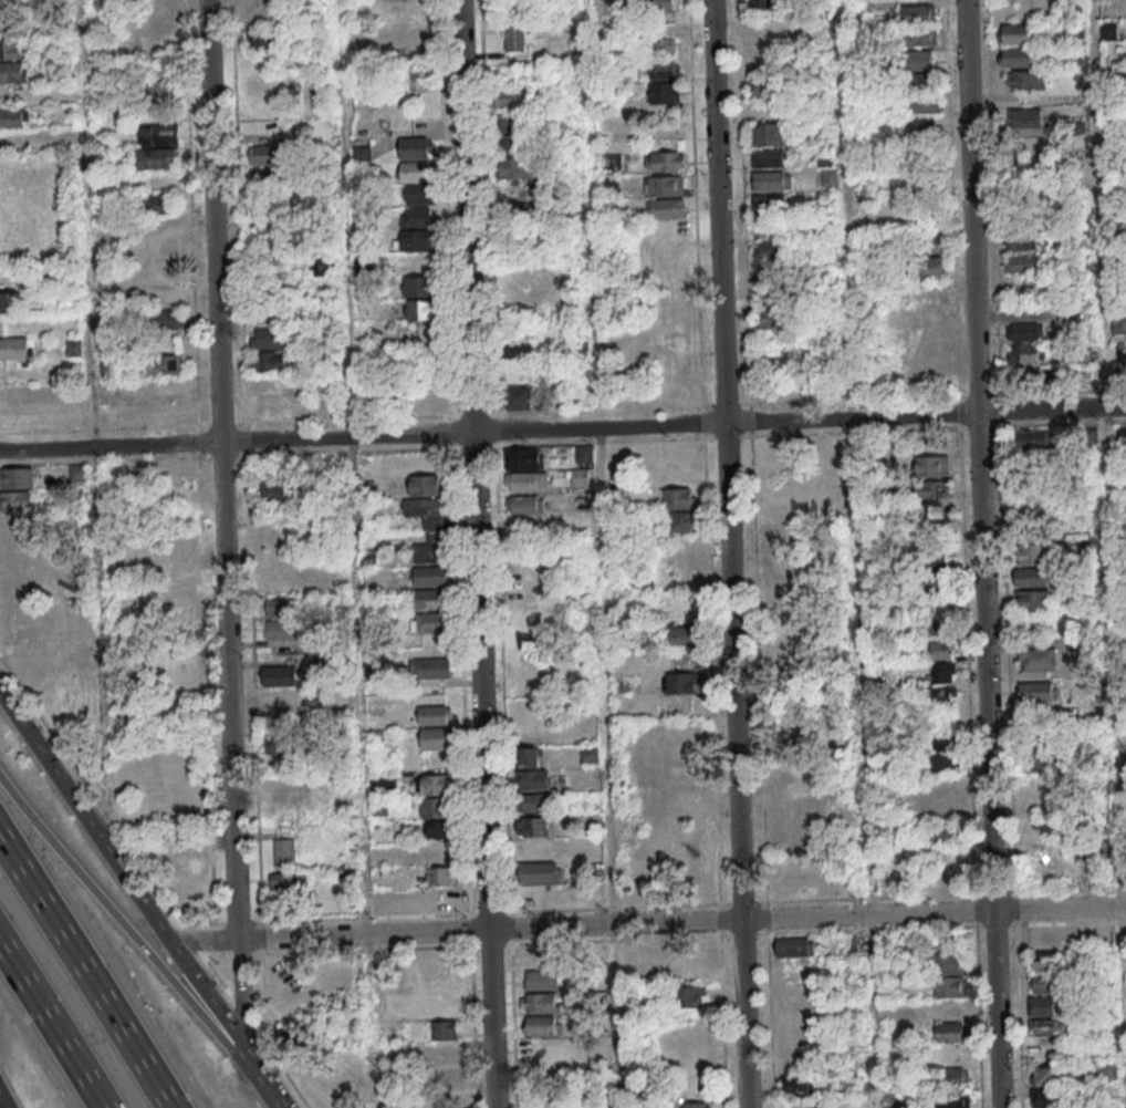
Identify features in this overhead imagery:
building: (763, 3)
building: (658, 4)
building: (512, 7)
building: (919, 13)
building: (1016, 33)
building: (919, 35)
building: (518, 38)
building: (263, 39)
building: (158, 42)
building: (661, 45)
building: (11, 52)
building: (1015, 56)
building: (917, 60)
building: (664, 69)
building: (1025, 80)
building: (919, 81)
building: (161, 89)
building: (763, 89)
building: (665, 92)
building: (513, 97)
building: (921, 103)
building: (13, 117)
building: (1025, 117)
building: (512, 122)
building: (921, 128)
building: (768, 134)
building: (510, 144)
building: (158, 146)
building: (416, 147)
building: (267, 154)
building: (361, 154)
building: (768, 157)
building: (609, 160)
building: (665, 160)
building: (513, 167)
building: (416, 170)
building: (270, 179)
building: (772, 179)
building: (664, 185)
building: (420, 194)
building: (769, 200)
building: (157, 204)
road: (970, 206)
building: (666, 208)
park: (40, 209)
road: (717, 211)
building: (513, 214)
road: (463, 216)
building: (417, 217)
road: (211, 221)
building: (269, 221)
building: (418, 240)
building: (1023, 240)
building: (770, 249)
building: (1022, 262)
building: (322, 266)
building: (931, 267)
building: (418, 286)
building: (10, 302)
building: (419, 309)
building: (166, 318)
building: (771, 318)
building: (1025, 331)
building: (269, 338)
building: (14, 346)
building: (73, 348)
building: (519, 351)
building: (1025, 354)
building: (270, 361)
building: (166, 364)
building: (520, 397)
building: (272, 407)
road: (1051, 410)
road: (849, 418)
road: (93, 423)
road: (596, 427)
road: (344, 436)
building: (1034, 439)
road: (110, 446)
building: (584, 453)
building: (523, 457)
road: (342, 466)
building: (931, 466)
building: (17, 477)
building: (581, 477)
building: (526, 480)
building: (427, 485)
building: (931, 489)
building: (280, 490)
building: (17, 500)
building: (524, 504)
building: (680, 507)
building: (1031, 508)
building: (426, 511)
building: (931, 512)
building: (15, 524)
building: (18, 547)
building: (430, 549)
road: (603, 553)
road: (858, 553)
building: (1033, 553)
road: (1105, 553)
building: (932, 556)
building: (19, 570)
building: (431, 576)
building: (1031, 577)
building: (428, 599)
building: (1032, 600)
building: (281, 605)
building: (21, 615)
building: (429, 622)
building: (936, 627)
building: (280, 629)
building: (684, 635)
building: (24, 639)
building: (939, 649)
building: (1036, 659)
building: (430, 667)
building: (940, 671)
building: (279, 674)
road: (479, 681)
building: (681, 682)
building: (1038, 691)
building: (942, 695)
building: (280, 697)
building: (434, 715)
building: (437, 737)
building: (941, 739)
building: (281, 745)
road: (228, 750)
building: (588, 754)
road: (987, 760)
building: (1042, 760)
building: (942, 763)
road: (734, 765)
building: (531, 769)
building: (383, 784)
building: (434, 784)
building: (535, 801)
building: (435, 807)
building: (532, 826)
building: (438, 828)
building: (943, 833)
building: (283, 852)
building: (437, 852)
building: (183, 862)
building: (540, 871)
building: (440, 874)
building: (692, 874)
road: (121, 876)
building: (288, 882)
building: (439, 899)
road: (116, 919)
road: (646, 923)
building: (793, 946)
building: (639, 953)
building: (1043, 960)
building: (948, 963)
road: (84, 974)
building: (542, 978)
building: (1043, 983)
building: (950, 986)
building: (291, 990)
building: (347, 991)
building: (689, 996)
building: (539, 1002)
building: (1041, 1005)
road: (490, 1018)
building: (541, 1025)
road: (52, 1026)
building: (1047, 1026)
building: (445, 1029)
building: (950, 1031)
building: (444, 1053)
building: (1106, 1070)
building: (452, 1076)
building: (953, 1076)
building: (1045, 1076)
road: (258, 1083)
building: (799, 1085)
building: (1047, 1098)
building: (952, 1100)
road: (2, 1102)
building: (694, 1105)

